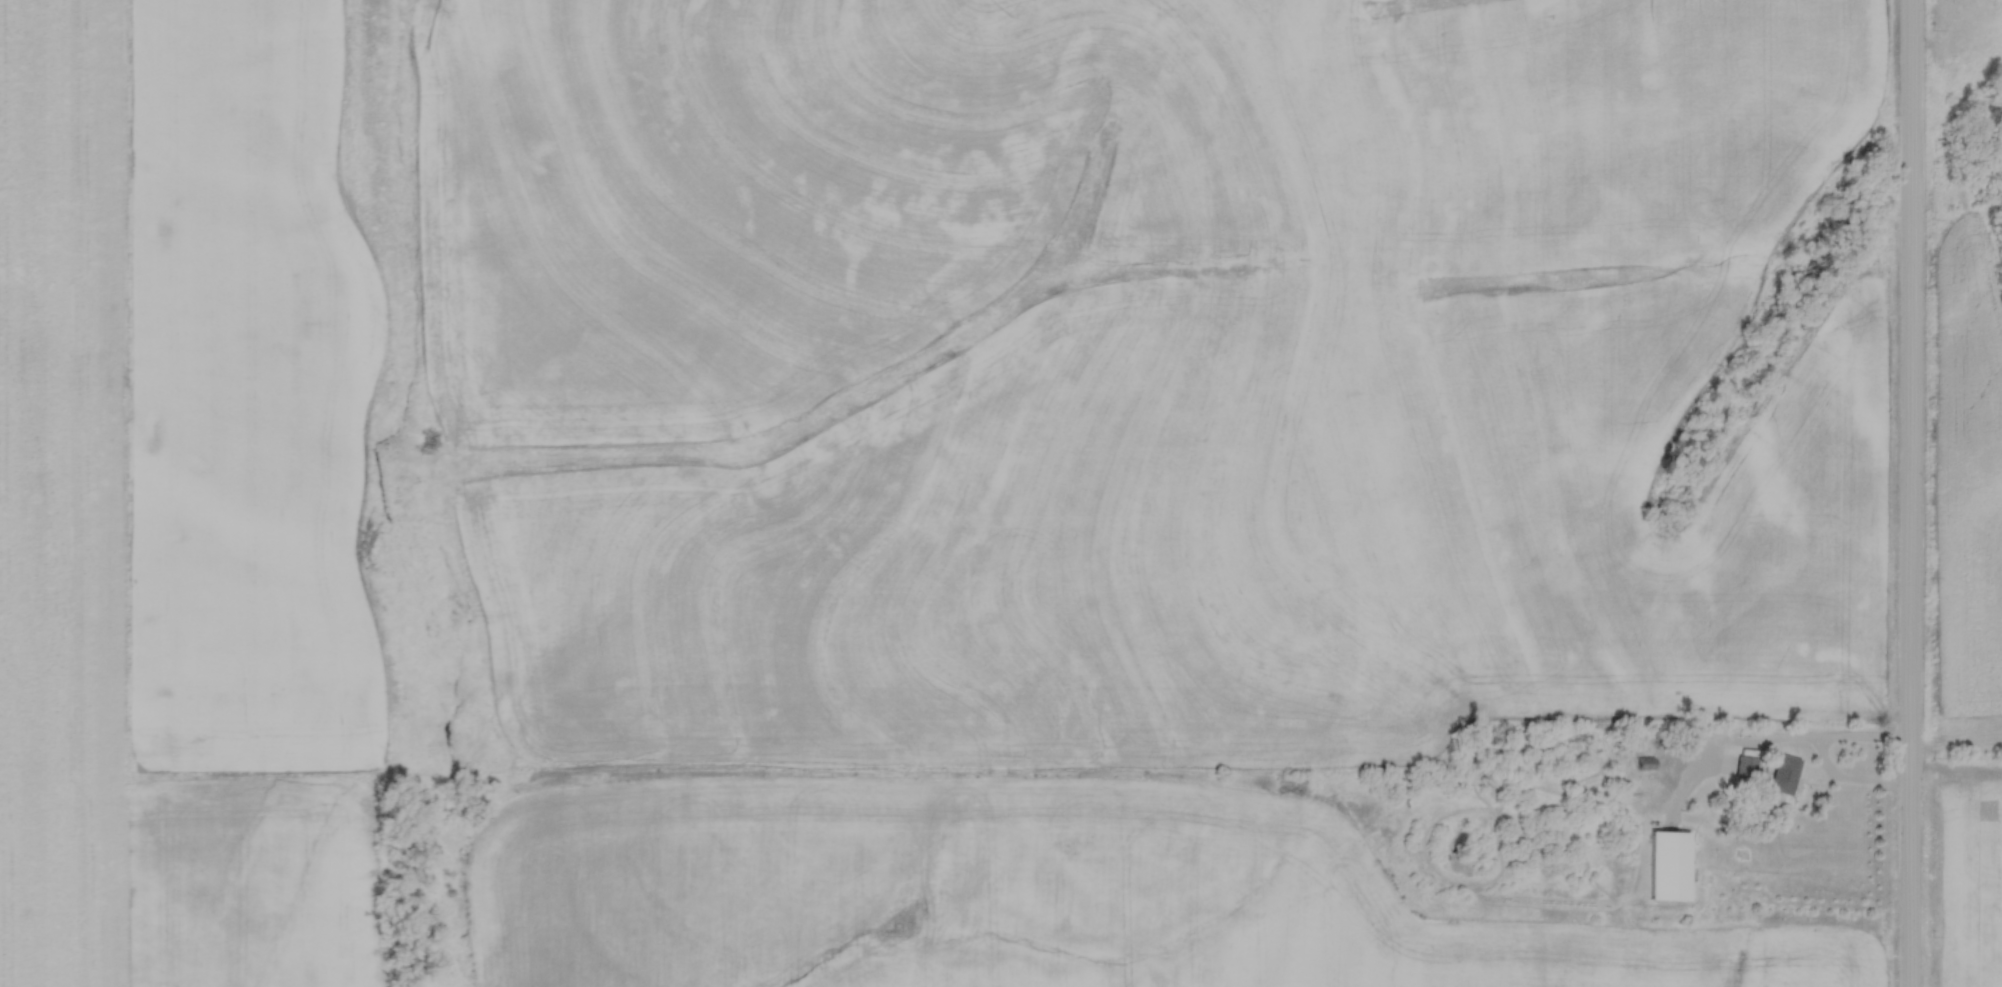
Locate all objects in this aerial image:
road: (1910, 493)
road: (1738, 743)
road: (1821, 753)
building: (1785, 773)
building: (1671, 866)

